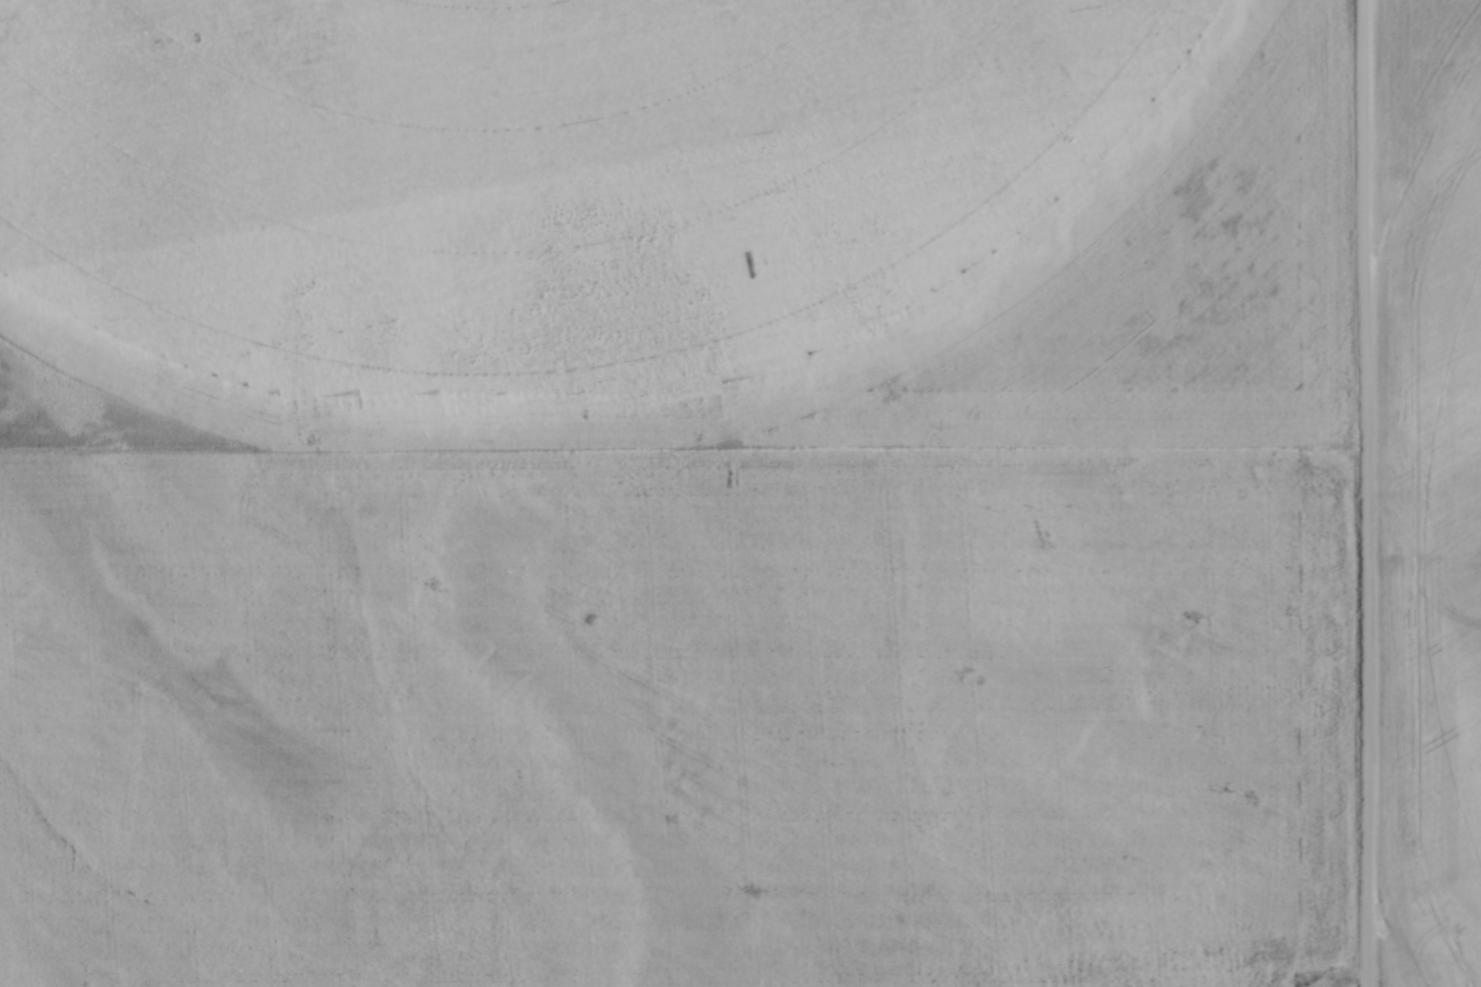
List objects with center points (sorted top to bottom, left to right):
road: (1369, 493)

